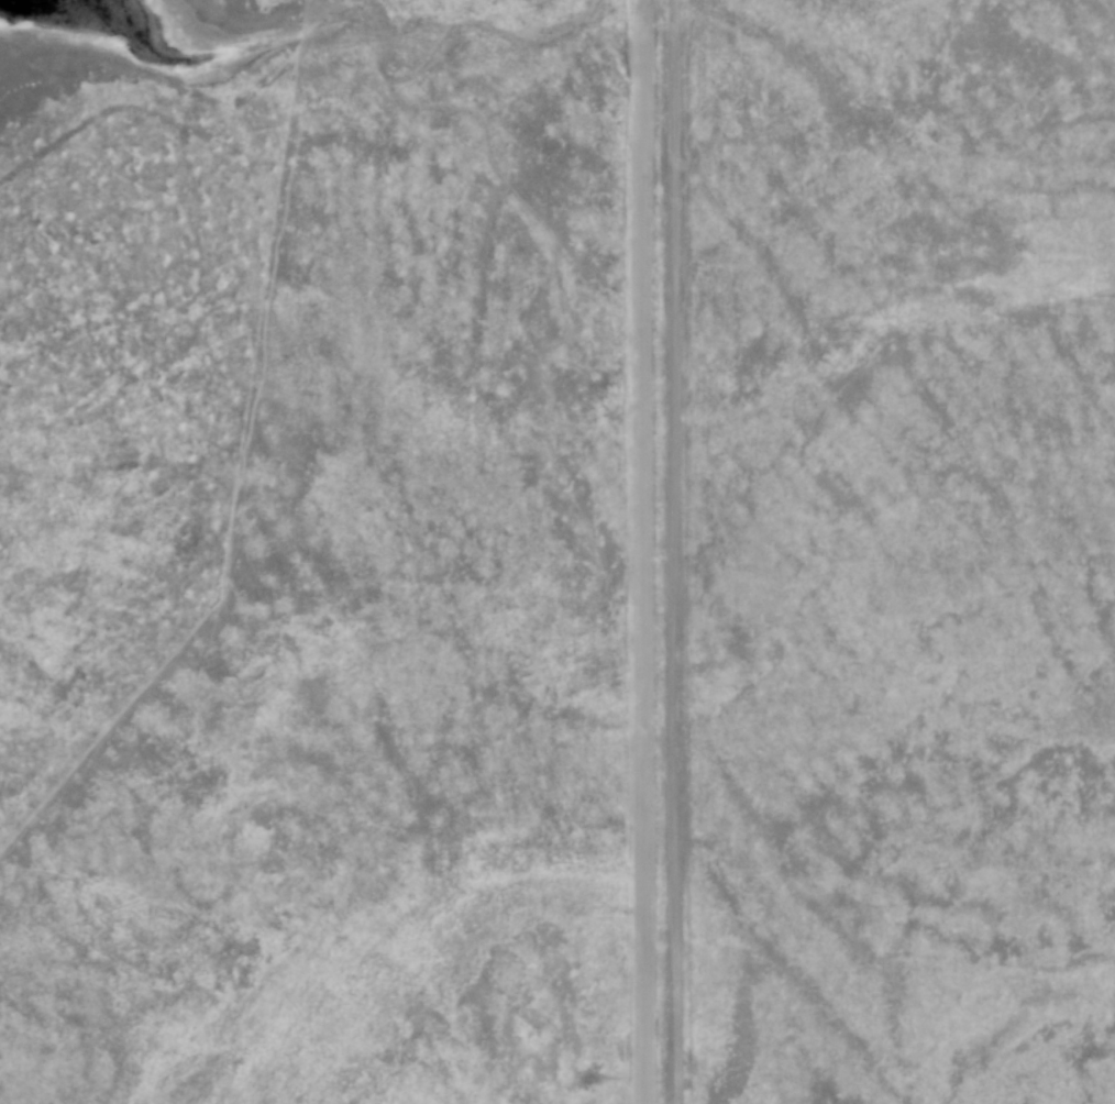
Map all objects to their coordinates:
airport: (336, 552)
road: (660, 552)

